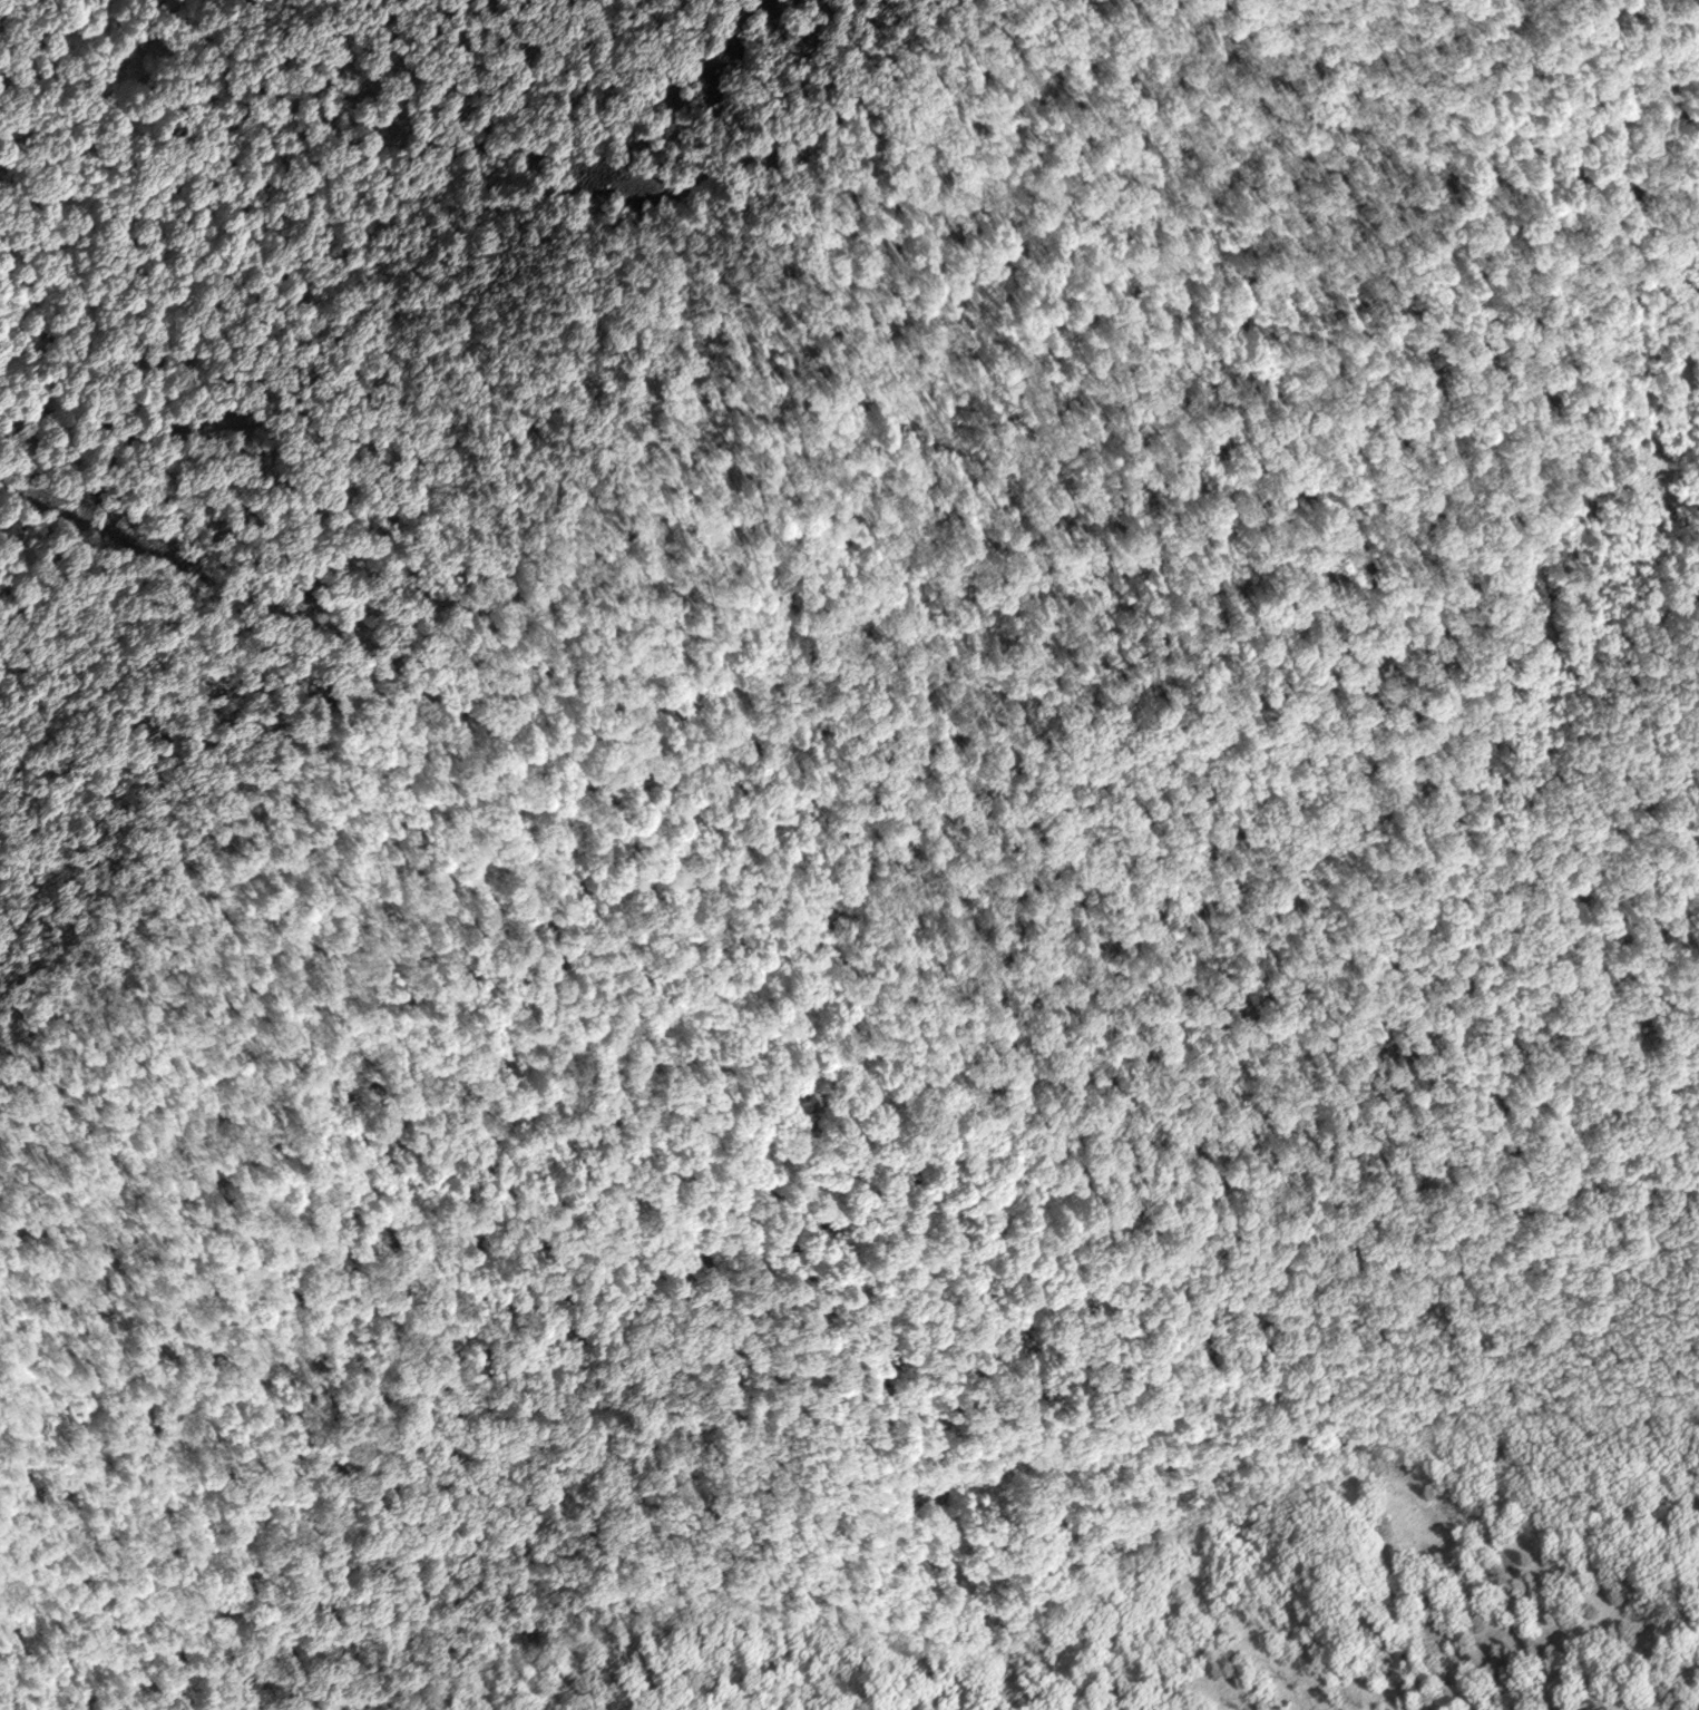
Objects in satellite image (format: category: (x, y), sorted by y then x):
road: (138, 119)

